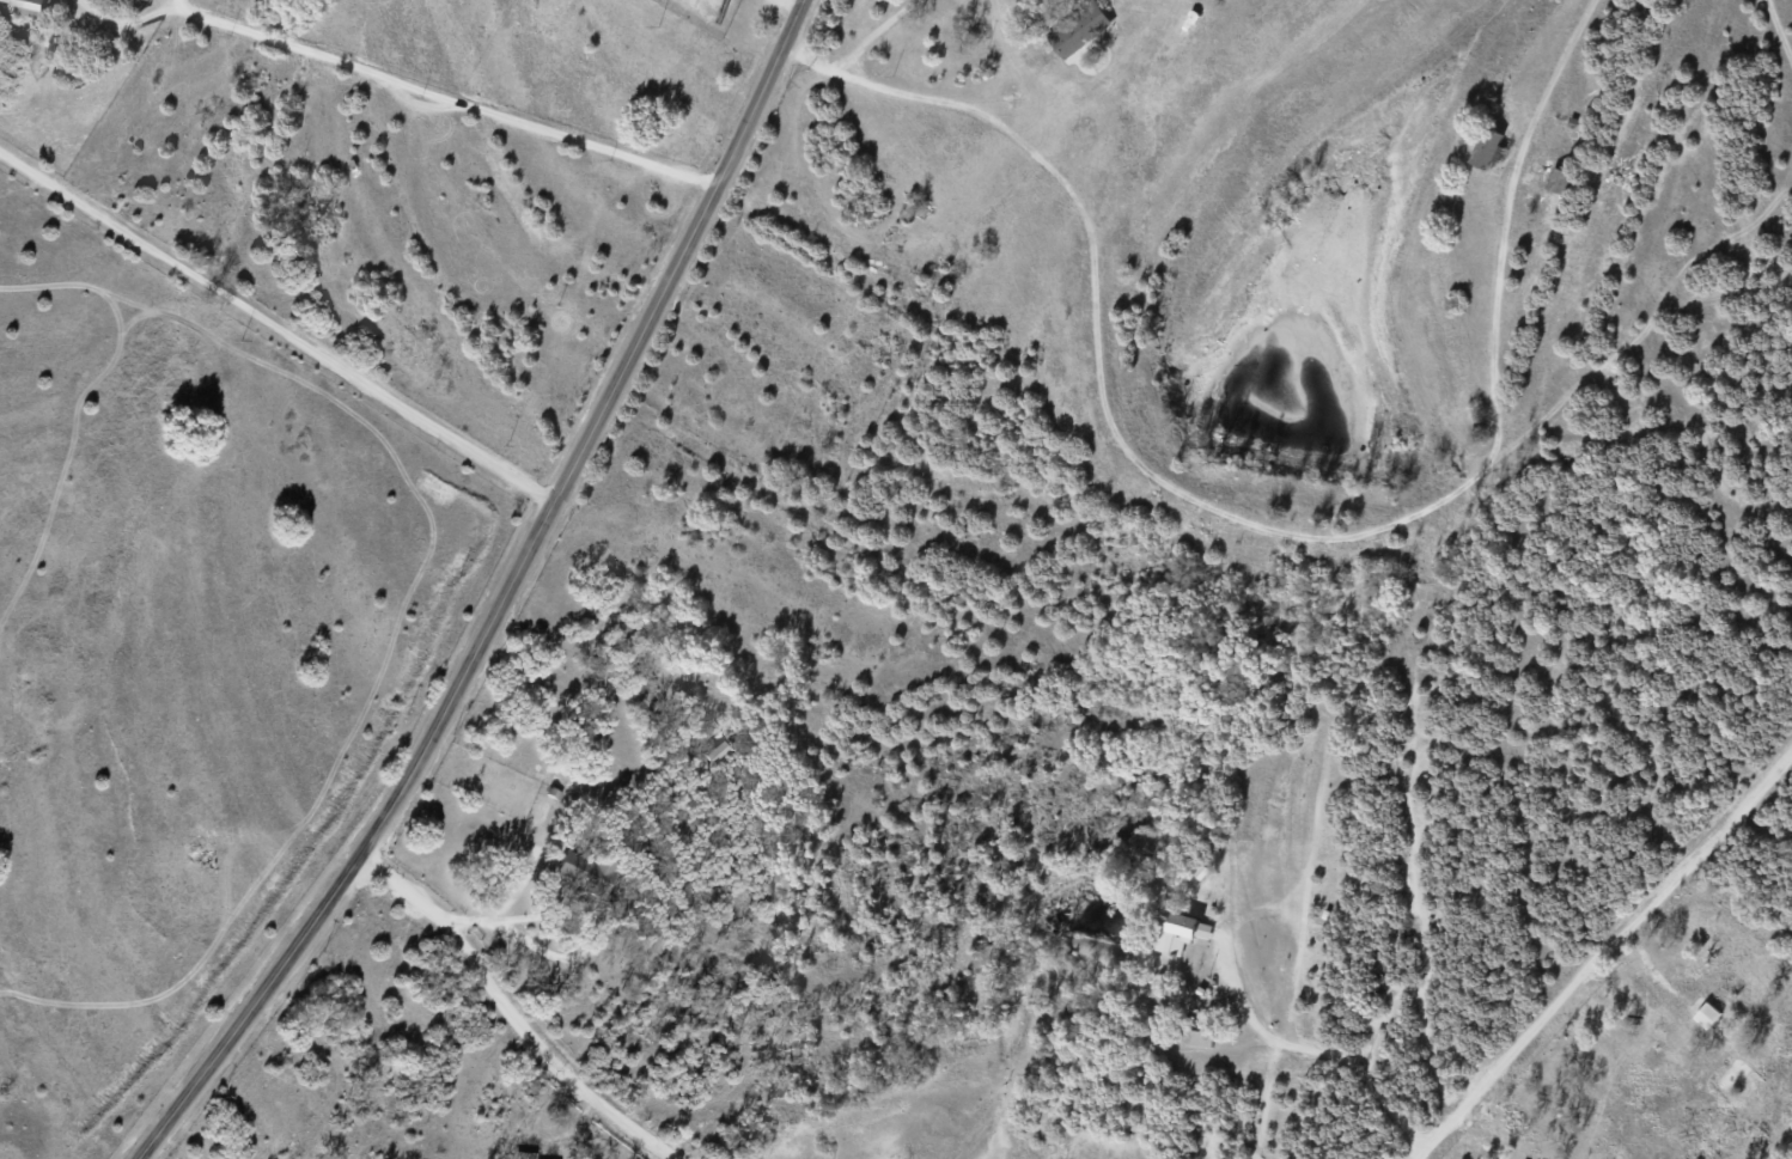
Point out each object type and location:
building: (25, 2)
road: (799, 2)
road: (801, 17)
building: (1079, 29)
road: (445, 94)
building: (1486, 148)
building: (1558, 179)
road: (280, 322)
road: (1197, 504)
road: (498, 617)
road: (508, 902)
building: (1202, 928)
building: (1176, 932)
road: (1608, 957)
building: (1706, 1013)
road: (513, 1014)
building: (1197, 1037)
road: (1321, 1047)

